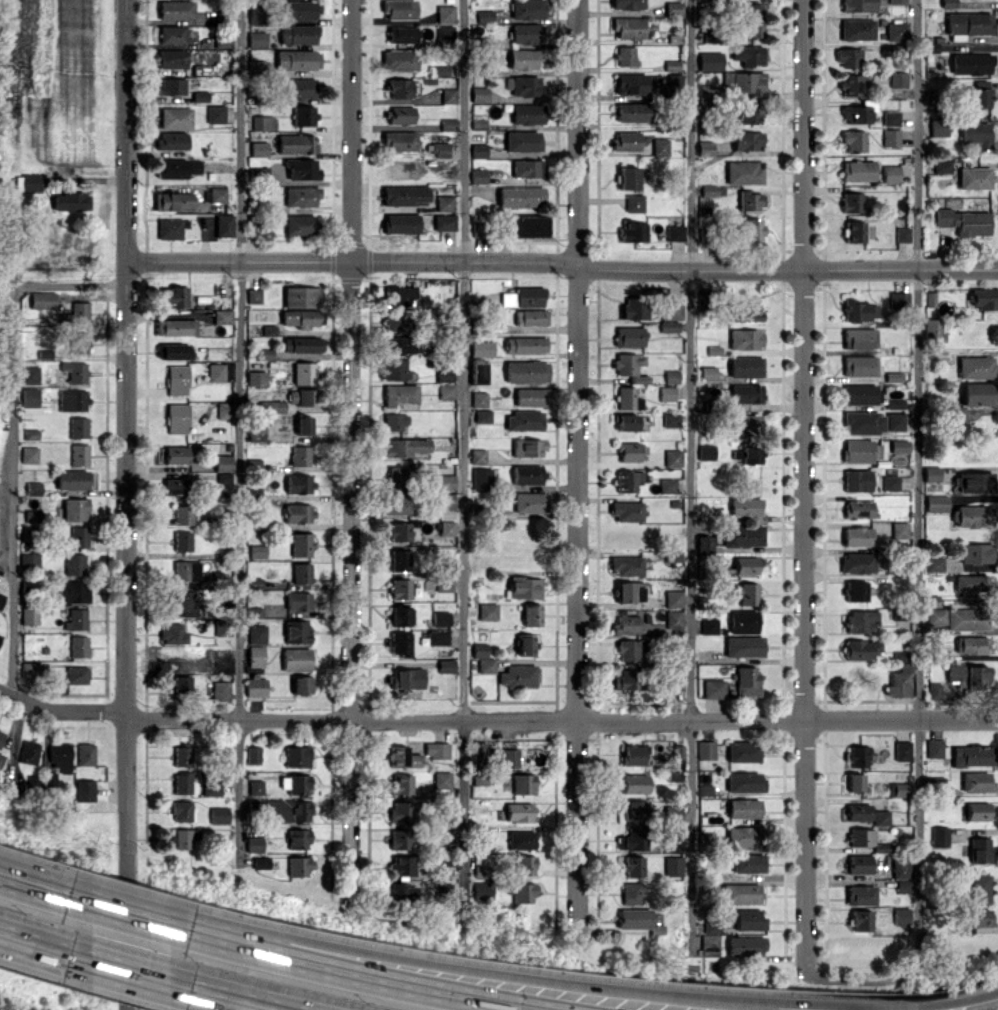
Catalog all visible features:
building: (896, 1)
building: (947, 3)
building: (627, 4)
building: (857, 5)
building: (672, 8)
building: (299, 9)
building: (399, 9)
building: (527, 9)
building: (175, 10)
building: (444, 13)
building: (254, 14)
building: (484, 16)
building: (748, 20)
building: (967, 23)
building: (626, 28)
building: (856, 29)
building: (895, 31)
building: (526, 33)
building: (170, 34)
building: (297, 34)
building: (401, 34)
building: (444, 34)
building: (256, 39)
building: (748, 55)
building: (625, 56)
building: (847, 57)
building: (171, 59)
building: (399, 59)
building: (523, 59)
building: (296, 60)
building: (709, 60)
building: (969, 63)
building: (673, 79)
building: (897, 79)
building: (742, 82)
building: (630, 84)
building: (849, 84)
building: (168, 85)
building: (525, 85)
building: (298, 88)
building: (399, 88)
building: (704, 90)
building: (479, 94)
building: (979, 94)
building: (448, 95)
building: (199, 96)
building: (632, 112)
building: (744, 113)
building: (855, 113)
building: (215, 114)
building: (527, 114)
building: (303, 115)
building: (400, 115)
building: (174, 118)
building: (890, 118)
building: (261, 122)
building: (448, 124)
building: (937, 126)
road: (125, 130)
building: (975, 134)
building: (890, 137)
building: (171, 140)
building: (522, 140)
building: (625, 140)
building: (853, 140)
building: (399, 141)
building: (296, 143)
building: (659, 146)
building: (258, 148)
building: (439, 149)
building: (478, 150)
building: (941, 166)
building: (177, 167)
building: (527, 168)
building: (302, 169)
building: (857, 170)
building: (742, 172)
building: (890, 173)
building: (478, 176)
building: (627, 177)
building: (973, 178)
building: (31, 183)
building: (711, 190)
building: (217, 194)
building: (404, 195)
building: (300, 196)
building: (520, 196)
building: (748, 200)
building: (70, 201)
building: (171, 201)
building: (850, 202)
building: (444, 203)
building: (634, 203)
building: (963, 221)
building: (444, 222)
building: (400, 223)
building: (300, 224)
building: (223, 225)
building: (527, 225)
building: (171, 227)
building: (752, 230)
building: (853, 230)
building: (632, 231)
building: (674, 233)
building: (902, 234)
road: (561, 262)
building: (253, 295)
building: (400, 295)
building: (173, 296)
building: (529, 296)
building: (301, 297)
building: (898, 298)
building: (984, 298)
building: (507, 299)
building: (41, 300)
building: (633, 308)
building: (671, 310)
building: (858, 310)
building: (79, 312)
building: (742, 313)
building: (222, 316)
building: (530, 317)
building: (301, 318)
building: (393, 322)
building: (668, 326)
building: (175, 327)
building: (269, 330)
building: (932, 331)
building: (628, 336)
building: (858, 338)
building: (744, 339)
building: (76, 342)
building: (302, 344)
building: (524, 344)
building: (398, 345)
building: (481, 347)
building: (171, 351)
building: (858, 365)
building: (629, 366)
building: (745, 366)
building: (975, 367)
building: (394, 370)
building: (74, 371)
building: (477, 371)
building: (526, 371)
building: (216, 372)
building: (303, 373)
building: (707, 373)
building: (29, 375)
building: (444, 376)
building: (670, 376)
building: (893, 376)
building: (255, 378)
building: (176, 380)
building: (446, 391)
building: (666, 393)
building: (745, 393)
building: (978, 393)
building: (399, 394)
building: (859, 394)
building: (530, 396)
building: (29, 397)
building: (301, 397)
building: (626, 398)
building: (72, 399)
building: (479, 399)
building: (893, 403)
building: (223, 410)
building: (483, 415)
building: (177, 418)
building: (524, 420)
building: (670, 420)
building: (394, 421)
building: (894, 421)
building: (631, 422)
building: (863, 422)
building: (746, 423)
building: (302, 424)
building: (78, 427)
building: (255, 432)
road: (239, 433)
road: (13, 438)
building: (898, 446)
building: (404, 447)
building: (528, 447)
road: (464, 450)
building: (631, 451)
building: (705, 451)
building: (860, 451)
road: (351, 453)
building: (29, 454)
building: (79, 454)
building: (748, 454)
building: (175, 455)
building: (300, 455)
building: (478, 456)
building: (672, 457)
building: (222, 463)
road: (577, 465)
building: (930, 473)
building: (527, 474)
building: (397, 477)
building: (481, 478)
road: (690, 478)
building: (71, 479)
building: (628, 480)
building: (856, 480)
building: (443, 482)
building: (972, 482)
building: (299, 483)
building: (889, 483)
building: (667, 485)
building: (175, 486)
building: (33, 488)
road: (803, 490)
building: (447, 501)
building: (529, 502)
building: (396, 503)
building: (935, 503)
building: (746, 508)
building: (857, 508)
building: (75, 509)
building: (627, 510)
power substation: (2, 512)
building: (298, 513)
building: (182, 514)
building: (36, 515)
building: (973, 516)
building: (447, 528)
building: (899, 529)
building: (398, 531)
building: (743, 535)
building: (856, 536)
building: (77, 537)
building: (182, 541)
building: (704, 543)
road: (917, 543)
building: (301, 544)
building: (257, 551)
building: (976, 553)
building: (400, 560)
building: (29, 561)
building: (857, 562)
building: (933, 563)
building: (75, 564)
building: (627, 565)
building: (745, 565)
building: (188, 571)
building: (301, 572)
building: (444, 584)
building: (972, 585)
building: (525, 587)
building: (401, 588)
building: (854, 590)
building: (628, 591)
building: (73, 592)
building: (746, 593)
building: (674, 598)
building: (1, 599)
building: (298, 600)
building: (932, 602)
building: (181, 604)
building: (488, 611)
building: (254, 612)
building: (29, 615)
building: (532, 615)
building: (401, 616)
building: (935, 616)
building: (441, 618)
building: (76, 619)
building: (673, 619)
building: (966, 619)
building: (743, 621)
building: (860, 621)
building: (626, 624)
building: (709, 624)
building: (297, 631)
building: (173, 633)
building: (257, 634)
road: (125, 635)
building: (0, 636)
building: (225, 637)
building: (438, 638)
building: (400, 642)
building: (527, 644)
building: (970, 644)
building: (79, 646)
building: (743, 646)
building: (860, 649)
building: (480, 650)
building: (627, 650)
building: (256, 655)
building: (296, 659)
building: (486, 665)
building: (447, 666)
building: (31, 668)
building: (77, 674)
building: (518, 675)
building: (968, 676)
building: (409, 678)
building: (626, 679)
building: (747, 680)
building: (899, 681)
building: (182, 683)
building: (301, 684)
building: (256, 686)
building: (713, 688)
building: (221, 690)
building: (936, 690)
road: (60, 711)
road: (561, 720)
building: (1, 736)
building: (935, 748)
building: (705, 749)
building: (437, 750)
building: (901, 750)
building: (226, 751)
building: (743, 751)
building: (29, 752)
building: (479, 753)
building: (85, 754)
building: (254, 754)
building: (634, 754)
building: (971, 755)
building: (60, 756)
building: (182, 756)
building: (297, 756)
building: (856, 756)
building: (404, 757)
building: (510, 757)
building: (2, 759)
building: (443, 780)
building: (182, 782)
building: (743, 782)
building: (851, 782)
building: (975, 782)
building: (296, 783)
building: (402, 783)
building: (635, 783)
building: (524, 784)
building: (256, 787)
building: (212, 788)
building: (897, 789)
building: (85, 790)
building: (743, 808)
building: (283, 809)
building: (634, 810)
building: (181, 811)
building: (401, 811)
building: (976, 811)
building: (520, 812)
building: (672, 814)
building: (219, 815)
building: (880, 817)
building: (744, 836)
building: (938, 836)
building: (859, 837)
building: (181, 838)
building: (299, 838)
building: (401, 839)
building: (632, 839)
building: (522, 840)
building: (255, 844)
building: (978, 849)
building: (261, 862)
building: (747, 863)
building: (858, 863)
building: (403, 865)
building: (524, 865)
building: (299, 866)
building: (633, 866)
building: (671, 866)
building: (899, 868)
building: (481, 871)
road: (32, 886)
building: (902, 886)
building: (979, 888)
building: (483, 891)
building: (523, 892)
building: (631, 893)
building: (739, 893)
building: (859, 895)
road: (125, 913)
building: (900, 915)
building: (634, 918)
building: (975, 918)
building: (748, 919)
building: (860, 920)
building: (711, 927)
building: (709, 944)
road: (31, 946)
building: (744, 946)
road: (456, 966)
road: (124, 973)
road: (359, 974)
road: (230, 1000)
road: (863, 1004)
road: (765, 1006)
park: (136, 1009)

